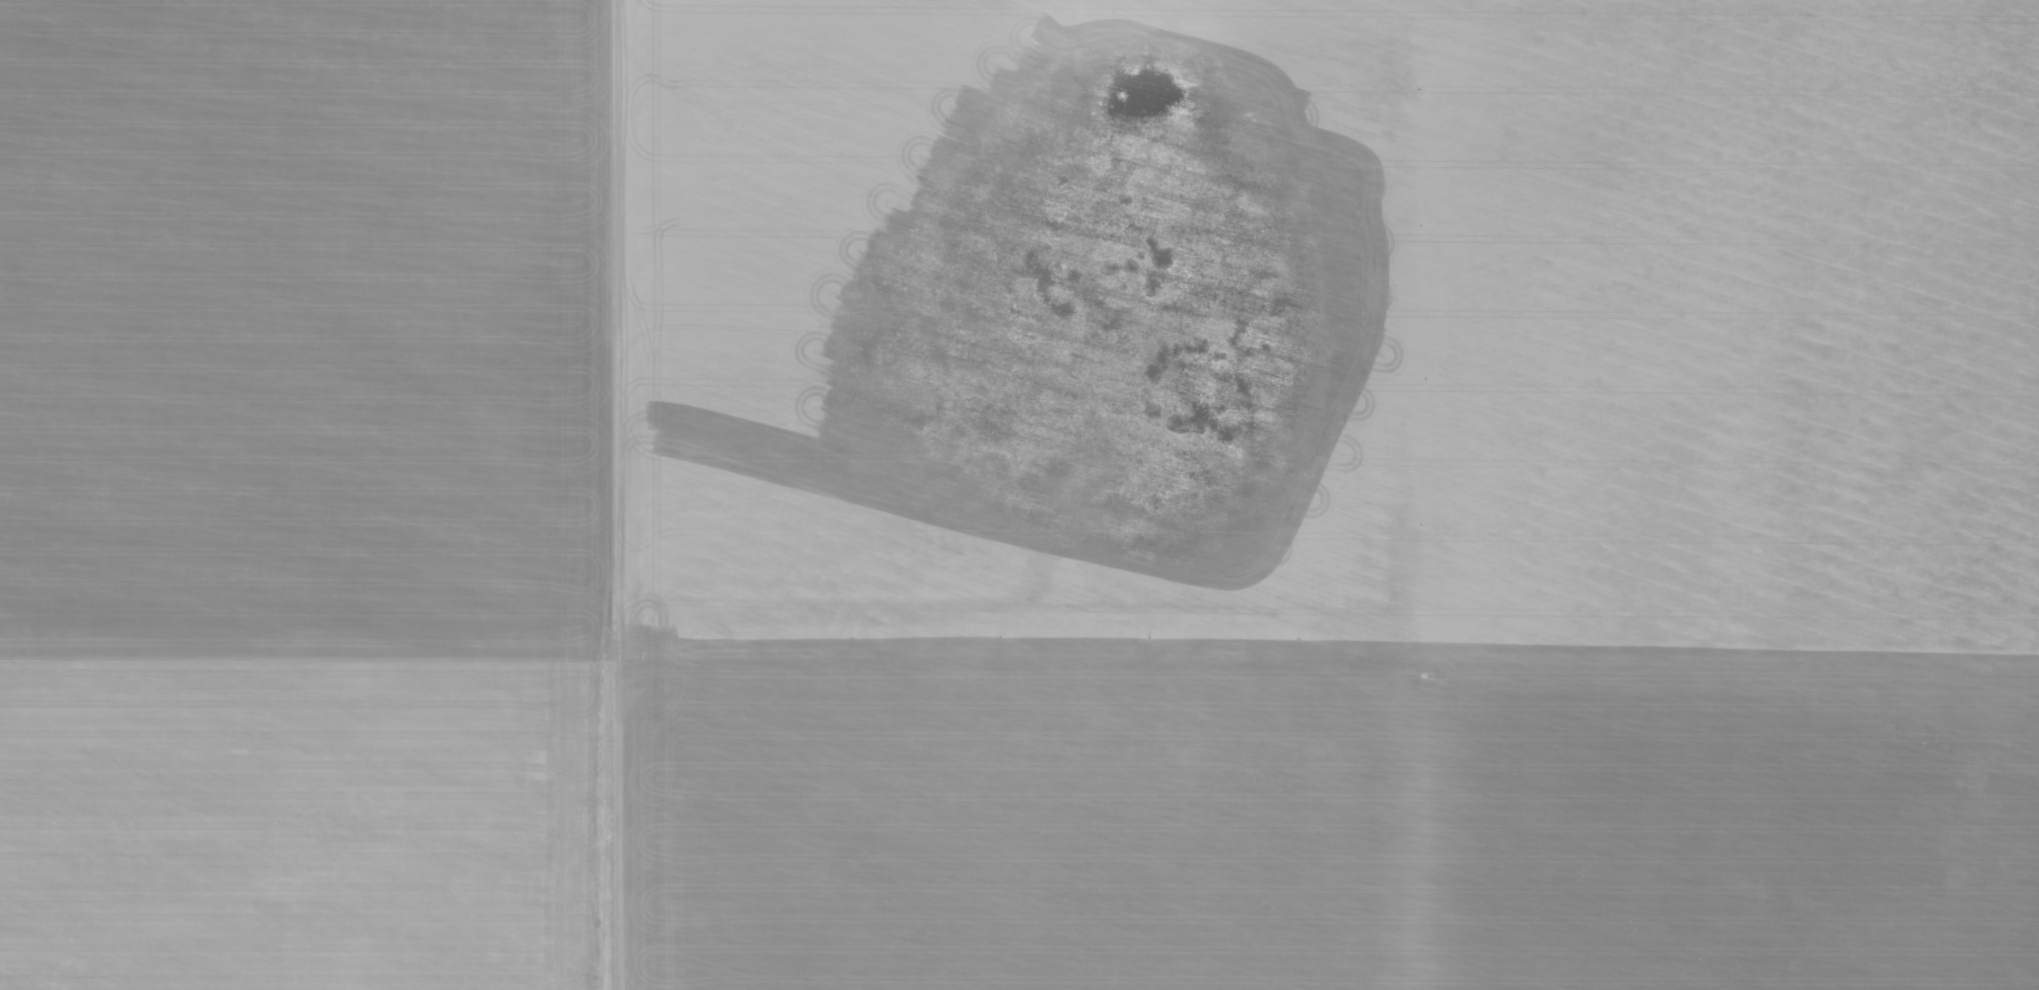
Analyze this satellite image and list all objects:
road: (599, 495)

